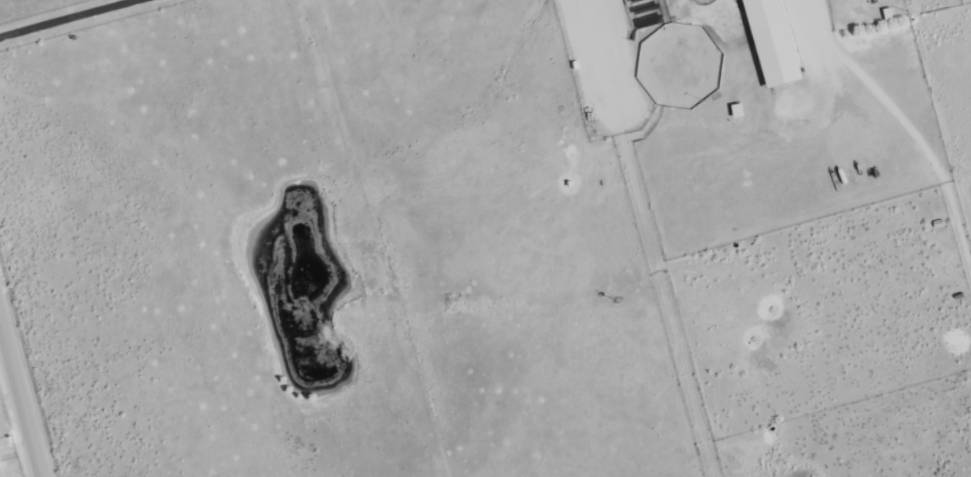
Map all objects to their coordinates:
road: (70, 19)
building: (771, 43)
road: (905, 124)
road: (21, 396)

